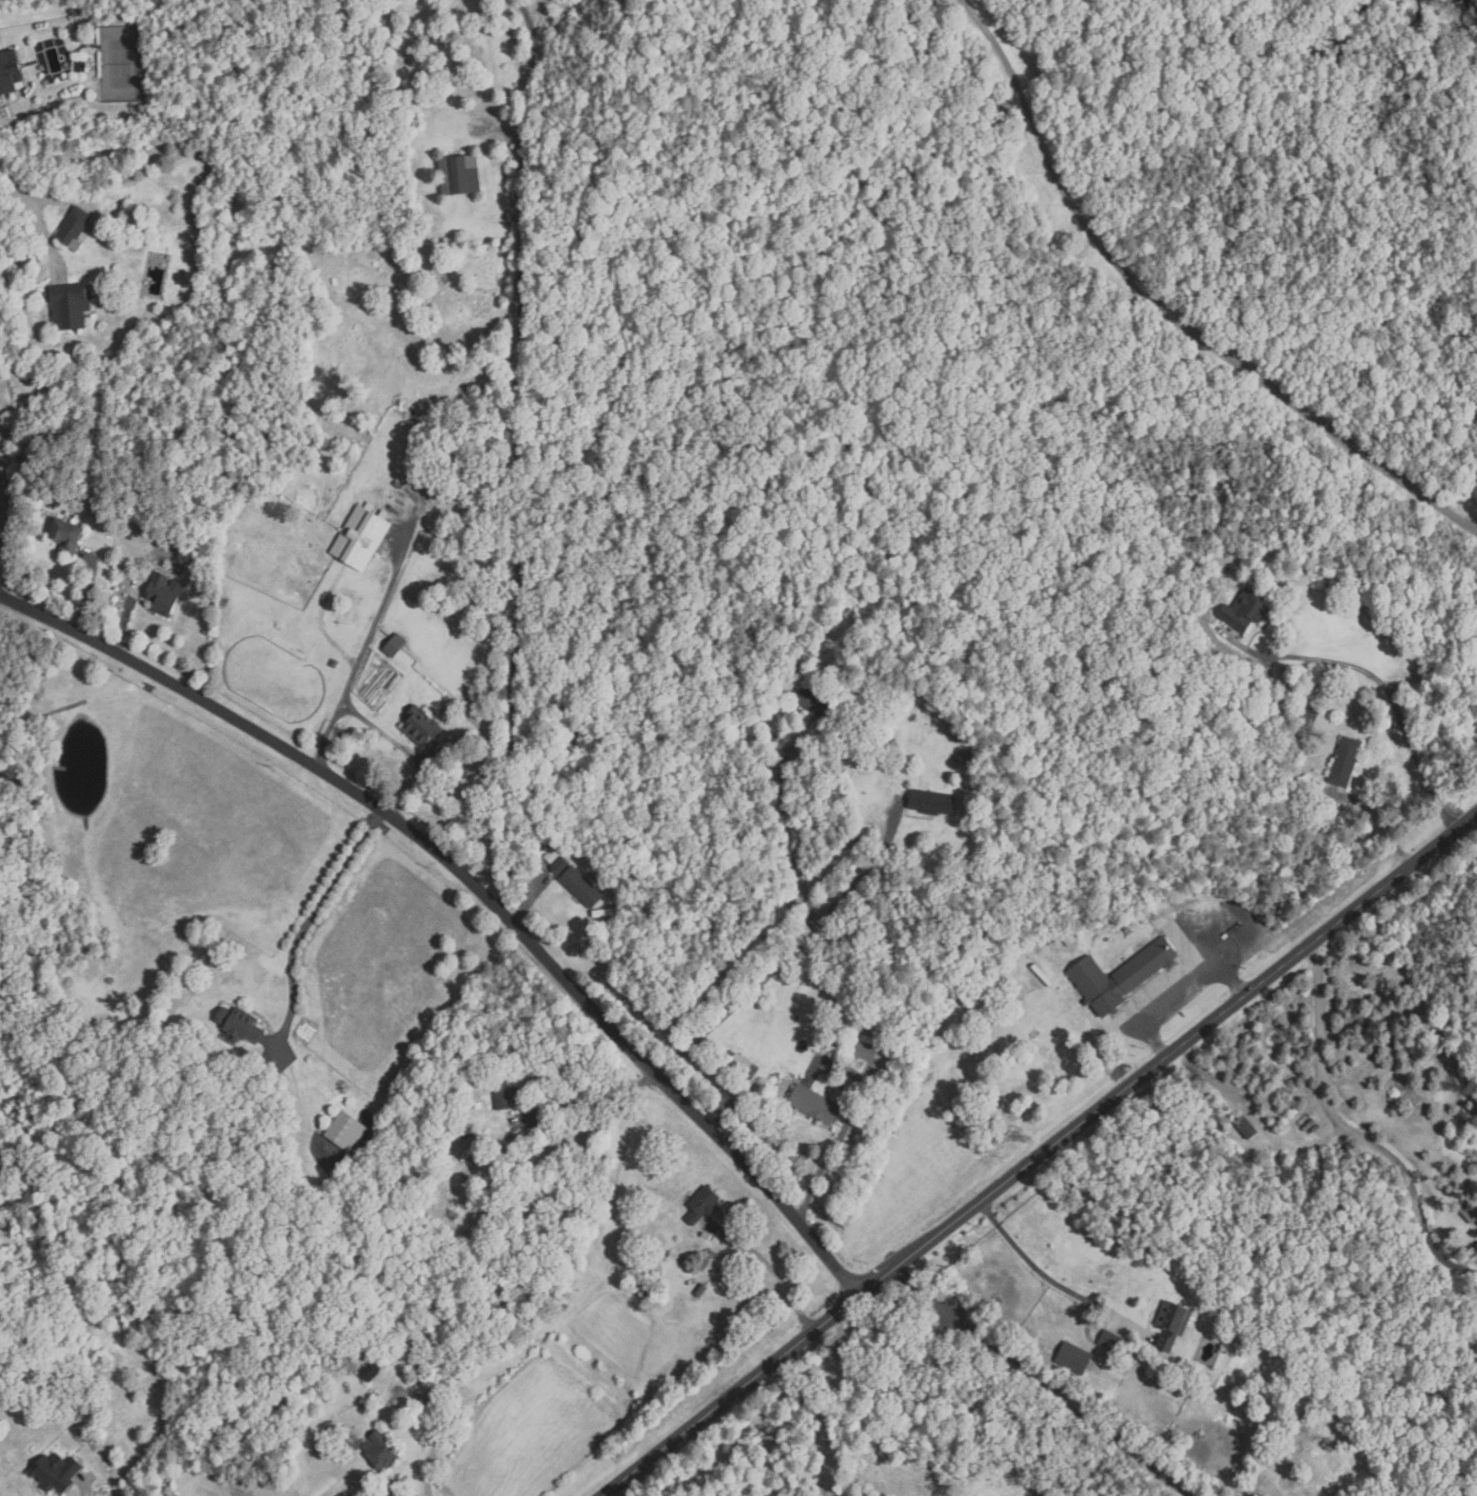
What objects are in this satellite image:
building: (10, 70)
building: (461, 174)
road: (28, 198)
building: (74, 228)
building: (70, 307)
road: (1167, 314)
road: (517, 455)
building: (67, 535)
building: (360, 539)
road: (88, 589)
building: (165, 594)
building: (1246, 610)
road: (125, 616)
building: (397, 646)
road: (361, 657)
building: (335, 663)
building: (1287, 673)
road: (1382, 682)
building: (815, 703)
building: (1282, 708)
building: (1312, 712)
building: (422, 726)
road: (385, 734)
building: (963, 758)
building: (1346, 762)
building: (933, 803)
road: (1385, 826)
road: (794, 832)
building: (552, 855)
building: (561, 865)
road: (866, 873)
road: (476, 886)
building: (584, 888)
road: (529, 898)
road: (309, 921)
building: (1050, 939)
building: (1069, 939)
building: (1034, 965)
building: (1122, 977)
road: (1178, 992)
road: (739, 1004)
building: (240, 1025)
building: (867, 1049)
building: (741, 1066)
building: (505, 1094)
road: (589, 1101)
building: (815, 1105)
road: (728, 1109)
road: (845, 1126)
building: (346, 1132)
building: (466, 1133)
road: (1354, 1134)
road: (1040, 1157)
park: (913, 1180)
building: (703, 1206)
building: (1466, 1212)
building: (1476, 1248)
road: (773, 1273)
road: (1051, 1280)
building: (643, 1287)
building: (701, 1291)
building: (403, 1322)
building: (1173, 1326)
building: (1112, 1342)
building: (1075, 1359)
building: (369, 1374)
road: (824, 1403)
road: (442, 1433)
building: (381, 1452)
building: (57, 1473)
road: (86, 1486)

